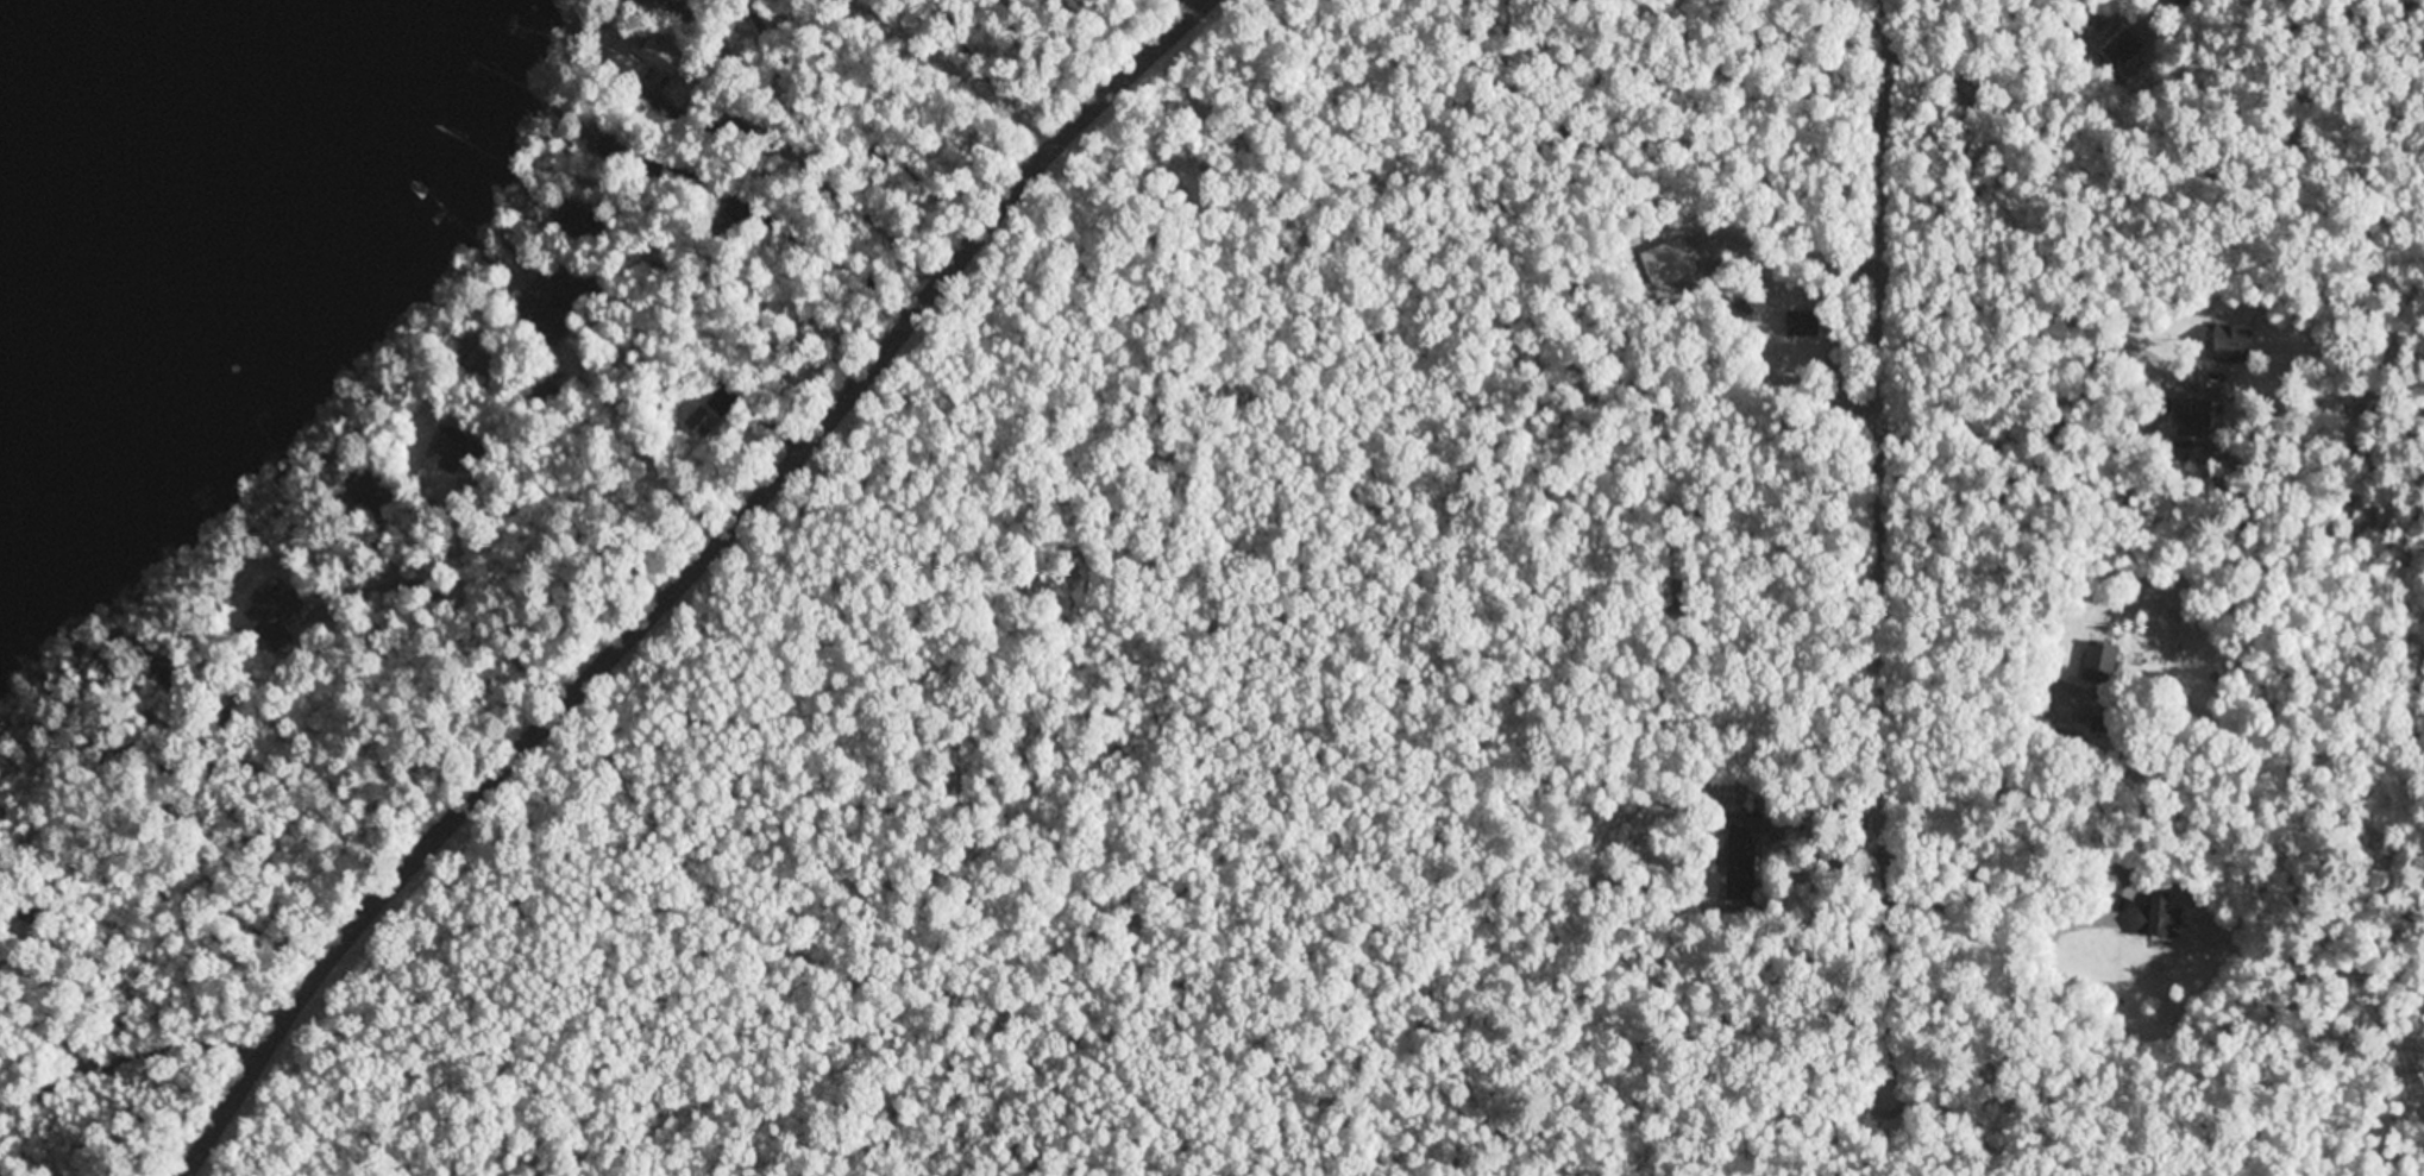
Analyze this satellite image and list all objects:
road: (944, 68)
building: (535, 298)
building: (2228, 339)
road: (1885, 549)
road: (686, 579)
road: (446, 597)
building: (268, 609)
building: (2098, 653)
building: (1738, 834)
building: (2123, 886)
building: (2152, 914)
road: (865, 960)
road: (52, 1033)
road: (127, 1058)

